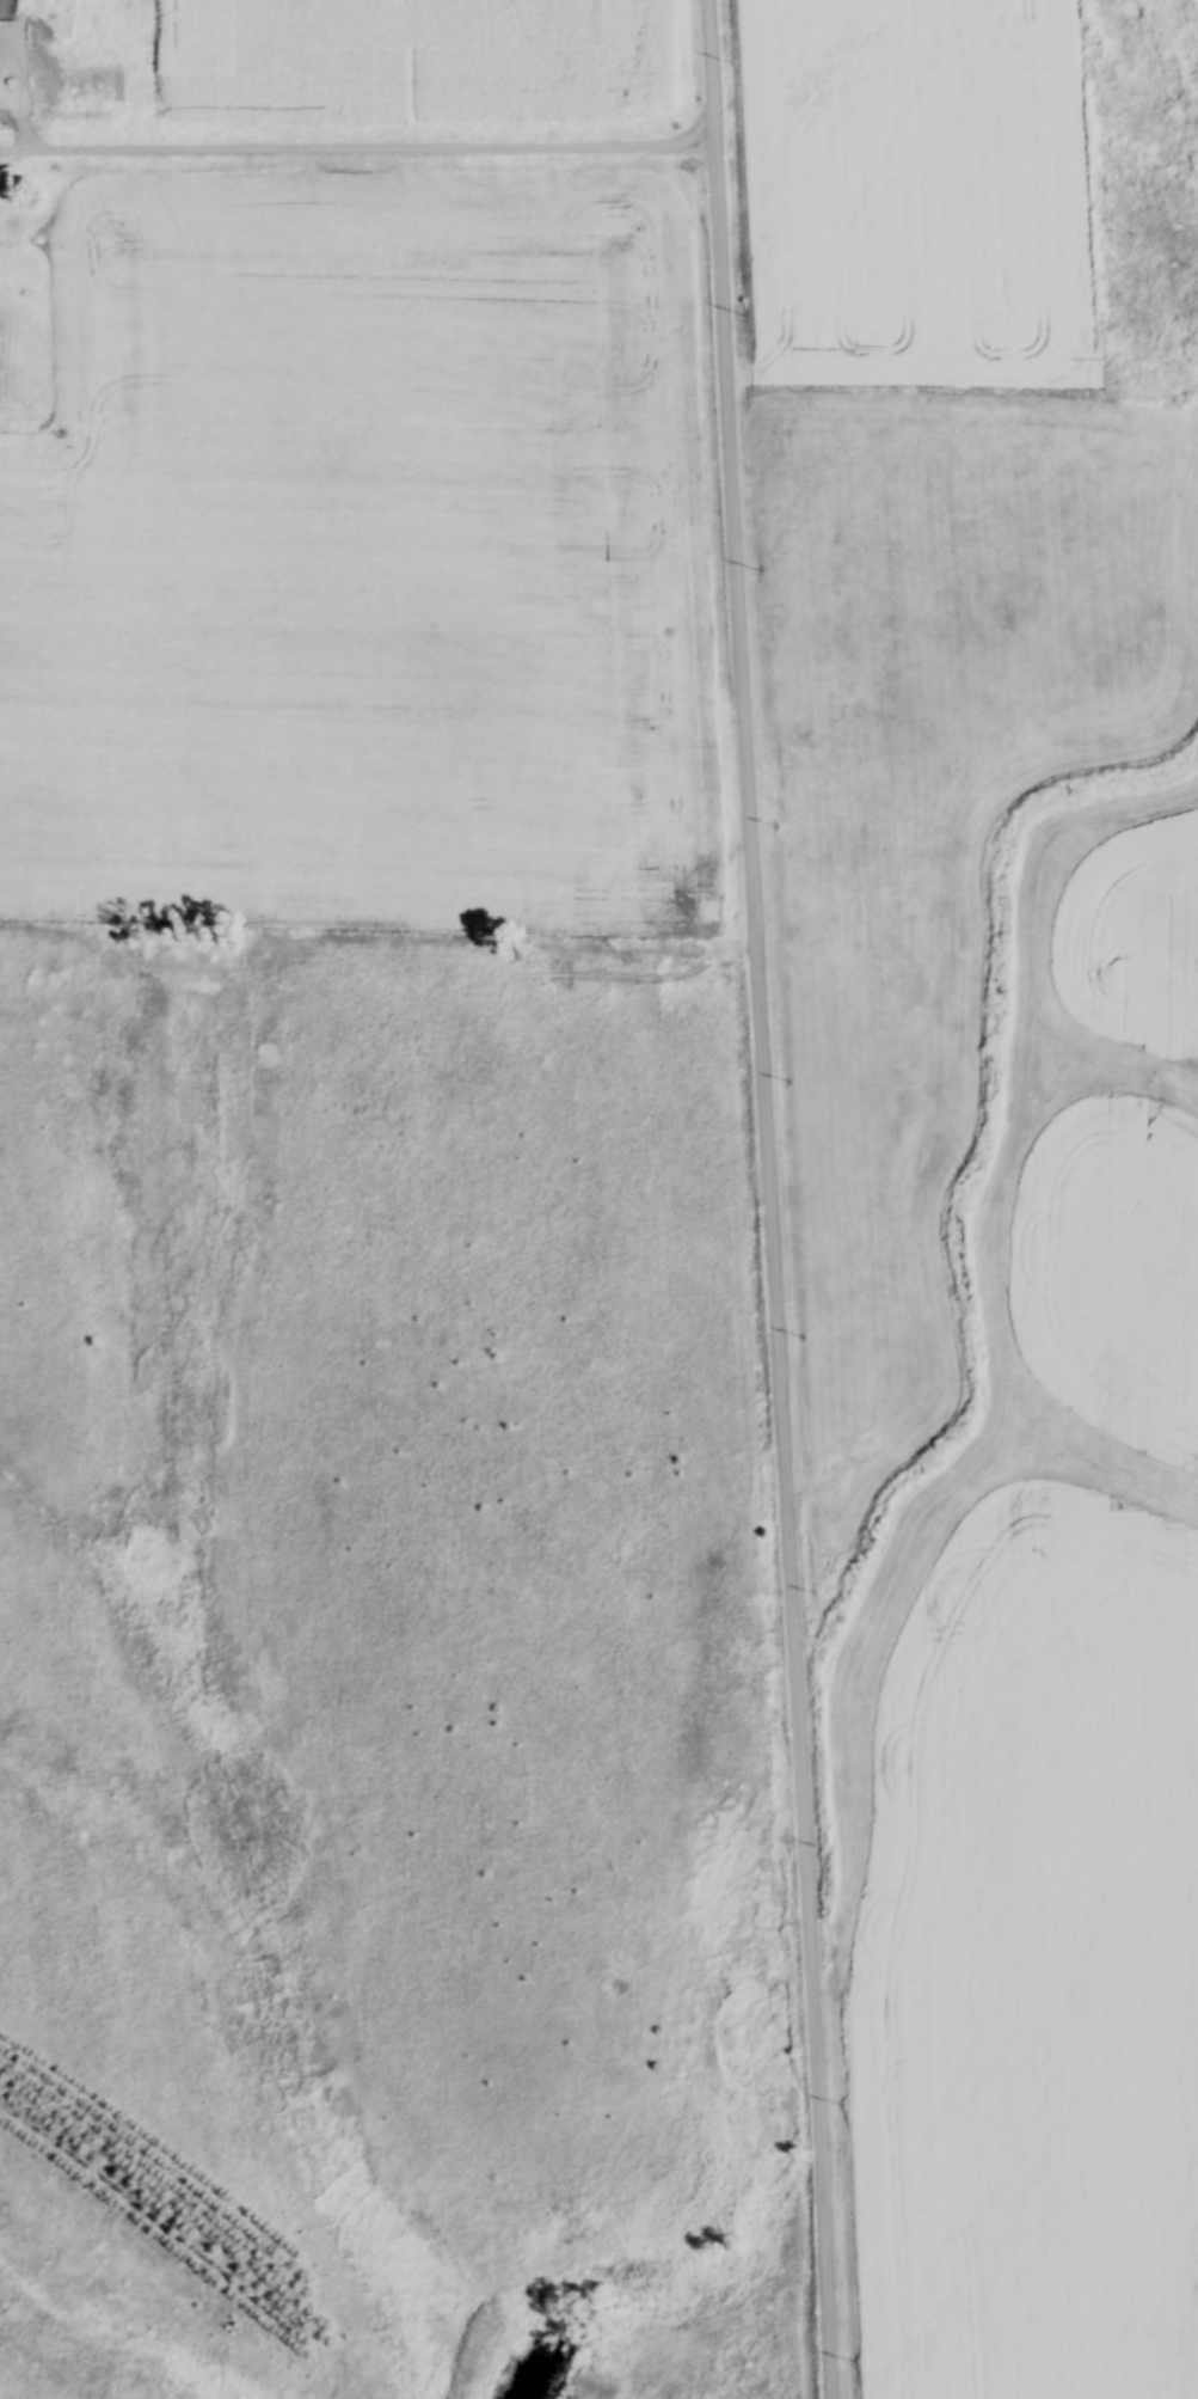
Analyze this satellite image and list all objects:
building: (85, 51)
road: (356, 147)
road: (769, 1199)

